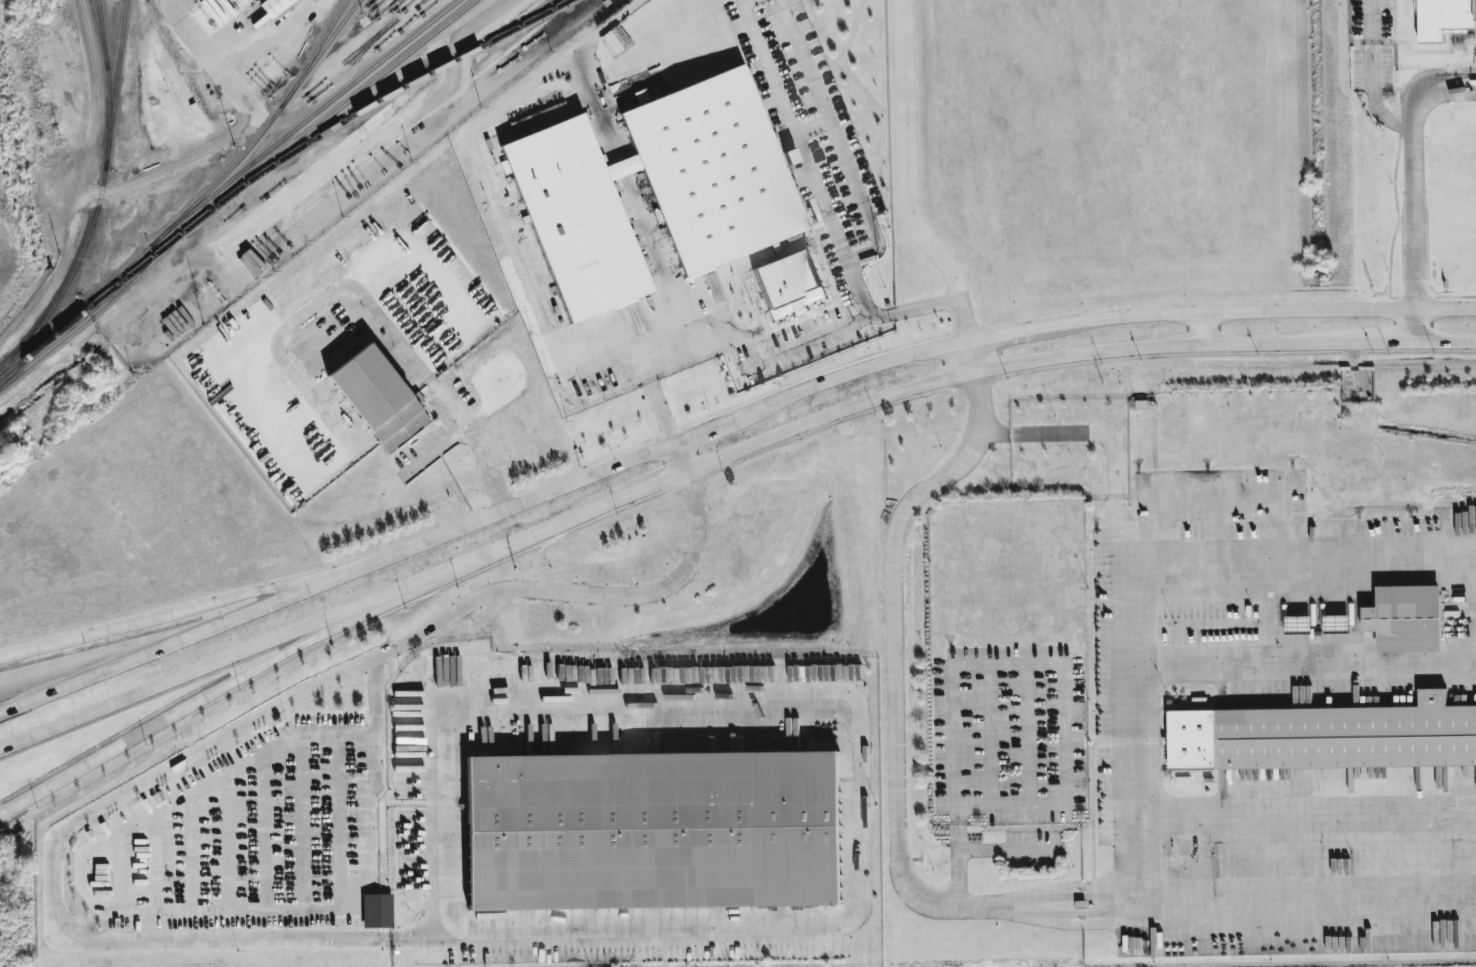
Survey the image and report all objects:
road: (745, 2)
building: (275, 6)
building: (1442, 18)
railway: (103, 34)
road: (214, 60)
railway: (118, 69)
road: (1372, 74)
road: (94, 96)
road: (596, 104)
road: (259, 117)
road: (812, 128)
road: (795, 135)
railway: (283, 151)
road: (623, 166)
road: (1414, 173)
road: (850, 175)
railway: (225, 182)
building: (655, 190)
railway: (100, 198)
road: (268, 209)
road: (501, 227)
road: (658, 251)
road: (58, 282)
building: (789, 283)
road: (946, 304)
road: (1256, 311)
road: (308, 313)
road: (1417, 324)
road: (1202, 329)
road: (679, 333)
road: (1003, 335)
road: (811, 339)
road: (1447, 340)
road: (1383, 341)
road: (971, 357)
road: (1010, 363)
building: (379, 398)
road: (1073, 433)
road: (477, 438)
road: (445, 443)
road: (683, 455)
road: (641, 490)
road: (480, 517)
road: (532, 535)
road: (1296, 565)
road: (421, 581)
building: (1406, 618)
road: (160, 619)
building: (1338, 622)
road: (447, 647)
road: (1297, 670)
road: (186, 675)
road: (447, 684)
road: (926, 685)
road: (374, 686)
road: (895, 692)
road: (1119, 705)
road: (186, 708)
road: (374, 724)
road: (236, 731)
road: (990, 734)
road: (1027, 734)
road: (1065, 734)
building: (1325, 736)
road: (1116, 741)
road: (955, 784)
road: (1298, 810)
road: (1092, 818)
road: (338, 821)
road: (302, 822)
building: (653, 831)
parking lot: (343, 834)
road: (1010, 850)
road: (1298, 893)
road: (1088, 894)
road: (269, 901)
building: (377, 910)
road: (855, 913)
road: (1088, 915)
road: (408, 932)

